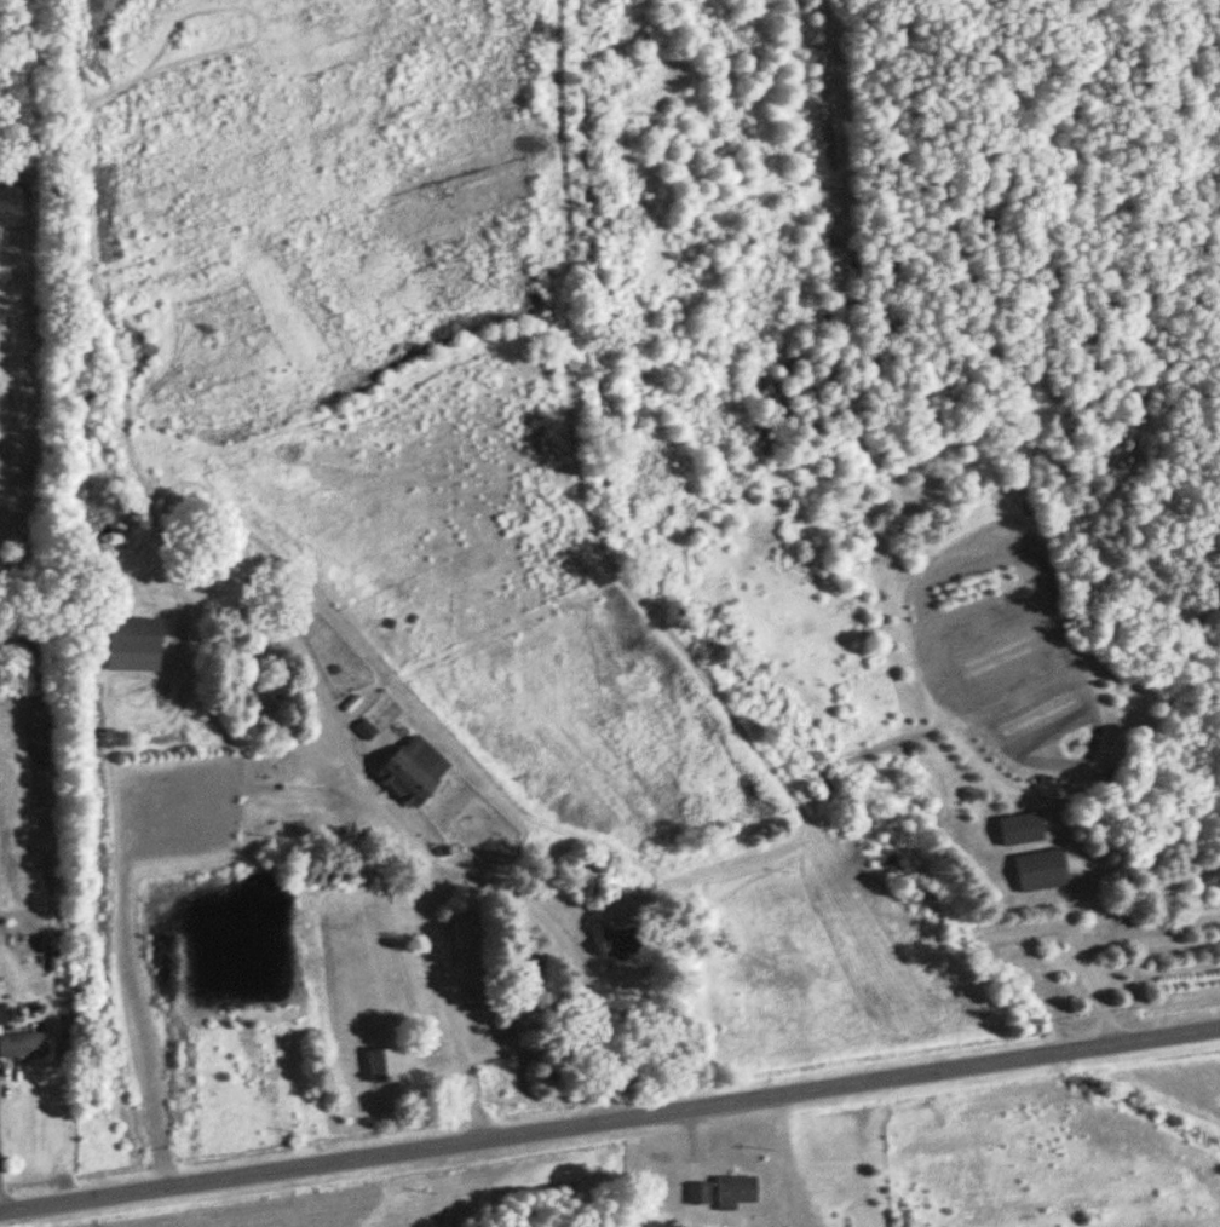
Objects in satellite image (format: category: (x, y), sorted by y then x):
building: (133, 636)
building: (412, 772)
building: (1040, 872)
building: (610, 945)
road: (1076, 956)
building: (2, 1015)
building: (23, 1047)
building: (381, 1067)
road: (610, 1122)
building: (733, 1193)
building: (698, 1194)

